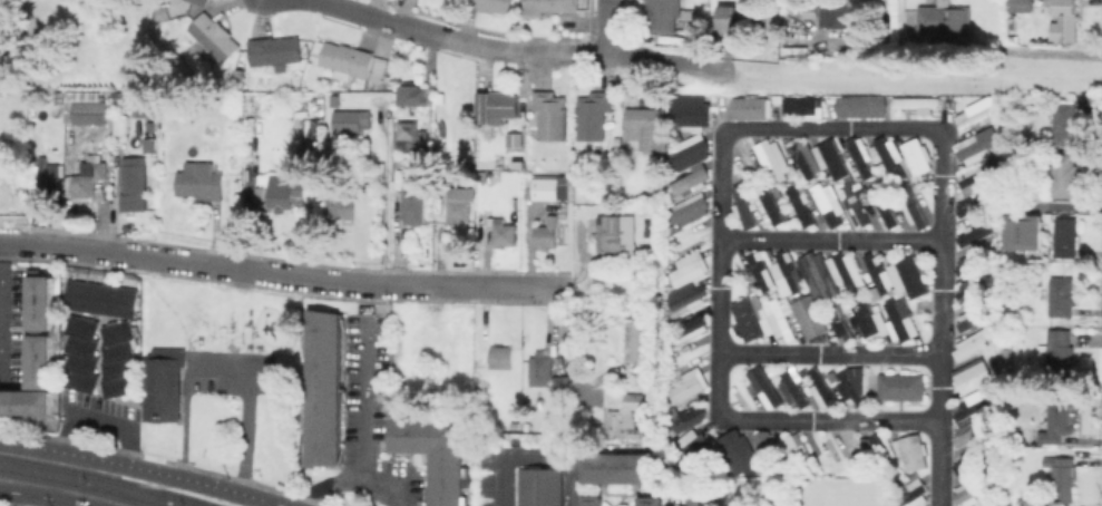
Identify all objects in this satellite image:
building: (203, 1)
building: (493, 4)
building: (548, 6)
building: (1022, 6)
road: (347, 7)
building: (162, 14)
building: (836, 14)
building: (664, 16)
building: (747, 17)
building: (946, 19)
building: (1065, 21)
road: (606, 27)
building: (215, 36)
road: (495, 49)
building: (276, 51)
building: (348, 59)
road: (667, 60)
building: (193, 61)
building: (240, 75)
road: (916, 76)
building: (413, 95)
building: (335, 100)
building: (915, 103)
building: (147, 105)
building: (232, 105)
building: (497, 105)
building: (859, 105)
building: (66, 106)
building: (801, 106)
building: (748, 107)
building: (87, 108)
building: (975, 113)
building: (550, 114)
building: (595, 115)
building: (690, 115)
building: (121, 120)
building: (347, 120)
building: (1066, 124)
building: (315, 127)
building: (650, 128)
building: (409, 129)
road: (724, 132)
building: (515, 138)
building: (150, 144)
building: (977, 145)
building: (686, 149)
building: (904, 156)
building: (859, 157)
building: (771, 158)
building: (803, 158)
building: (829, 158)
building: (518, 159)
building: (420, 166)
building: (852, 169)
building: (1065, 174)
building: (976, 176)
building: (45, 179)
building: (690, 179)
building: (88, 181)
building: (203, 182)
building: (134, 186)
building: (549, 188)
building: (282, 193)
building: (827, 202)
building: (415, 204)
building: (799, 205)
road: (1062, 205)
building: (341, 206)
building: (458, 206)
building: (857, 206)
building: (886, 206)
building: (692, 207)
building: (758, 207)
building: (914, 207)
building: (978, 207)
building: (480, 216)
building: (1024, 232)
building: (548, 233)
building: (612, 233)
building: (505, 234)
building: (978, 234)
building: (1066, 236)
road: (831, 240)
building: (969, 264)
building: (690, 269)
building: (876, 270)
building: (762, 271)
road: (283, 274)
building: (789, 274)
building: (847, 274)
building: (821, 276)
building: (914, 278)
building: (972, 292)
building: (1063, 296)
road: (1, 298)
building: (103, 298)
building: (690, 300)
building: (40, 302)
building: (749, 317)
building: (782, 317)
building: (978, 317)
building: (812, 318)
building: (841, 322)
building: (885, 322)
building: (690, 329)
building: (638, 343)
building: (977, 344)
building: (81, 350)
road: (829, 354)
building: (1059, 356)
building: (120, 357)
building: (501, 357)
building: (40, 360)
building: (548, 376)
building: (975, 378)
building: (165, 383)
building: (901, 385)
building: (322, 386)
building: (681, 388)
building: (796, 389)
building: (825, 389)
building: (768, 390)
building: (852, 390)
building: (28, 401)
building: (975, 408)
road: (363, 409)
building: (624, 412)
building: (690, 416)
building: (1063, 416)
building: (516, 426)
building: (974, 432)
building: (1050, 438)
building: (884, 445)
building: (913, 450)
building: (694, 451)
building: (745, 451)
building: (802, 451)
building: (437, 453)
building: (772, 453)
road: (535, 458)
building: (971, 460)
road: (939, 464)
building: (620, 467)
road: (143, 469)
building: (1062, 476)
railway: (105, 478)
road: (351, 480)
railway: (78, 487)
building: (542, 488)
building: (972, 489)
building: (908, 493)
road: (40, 497)
building: (589, 500)
building: (648, 500)
building: (982, 505)

